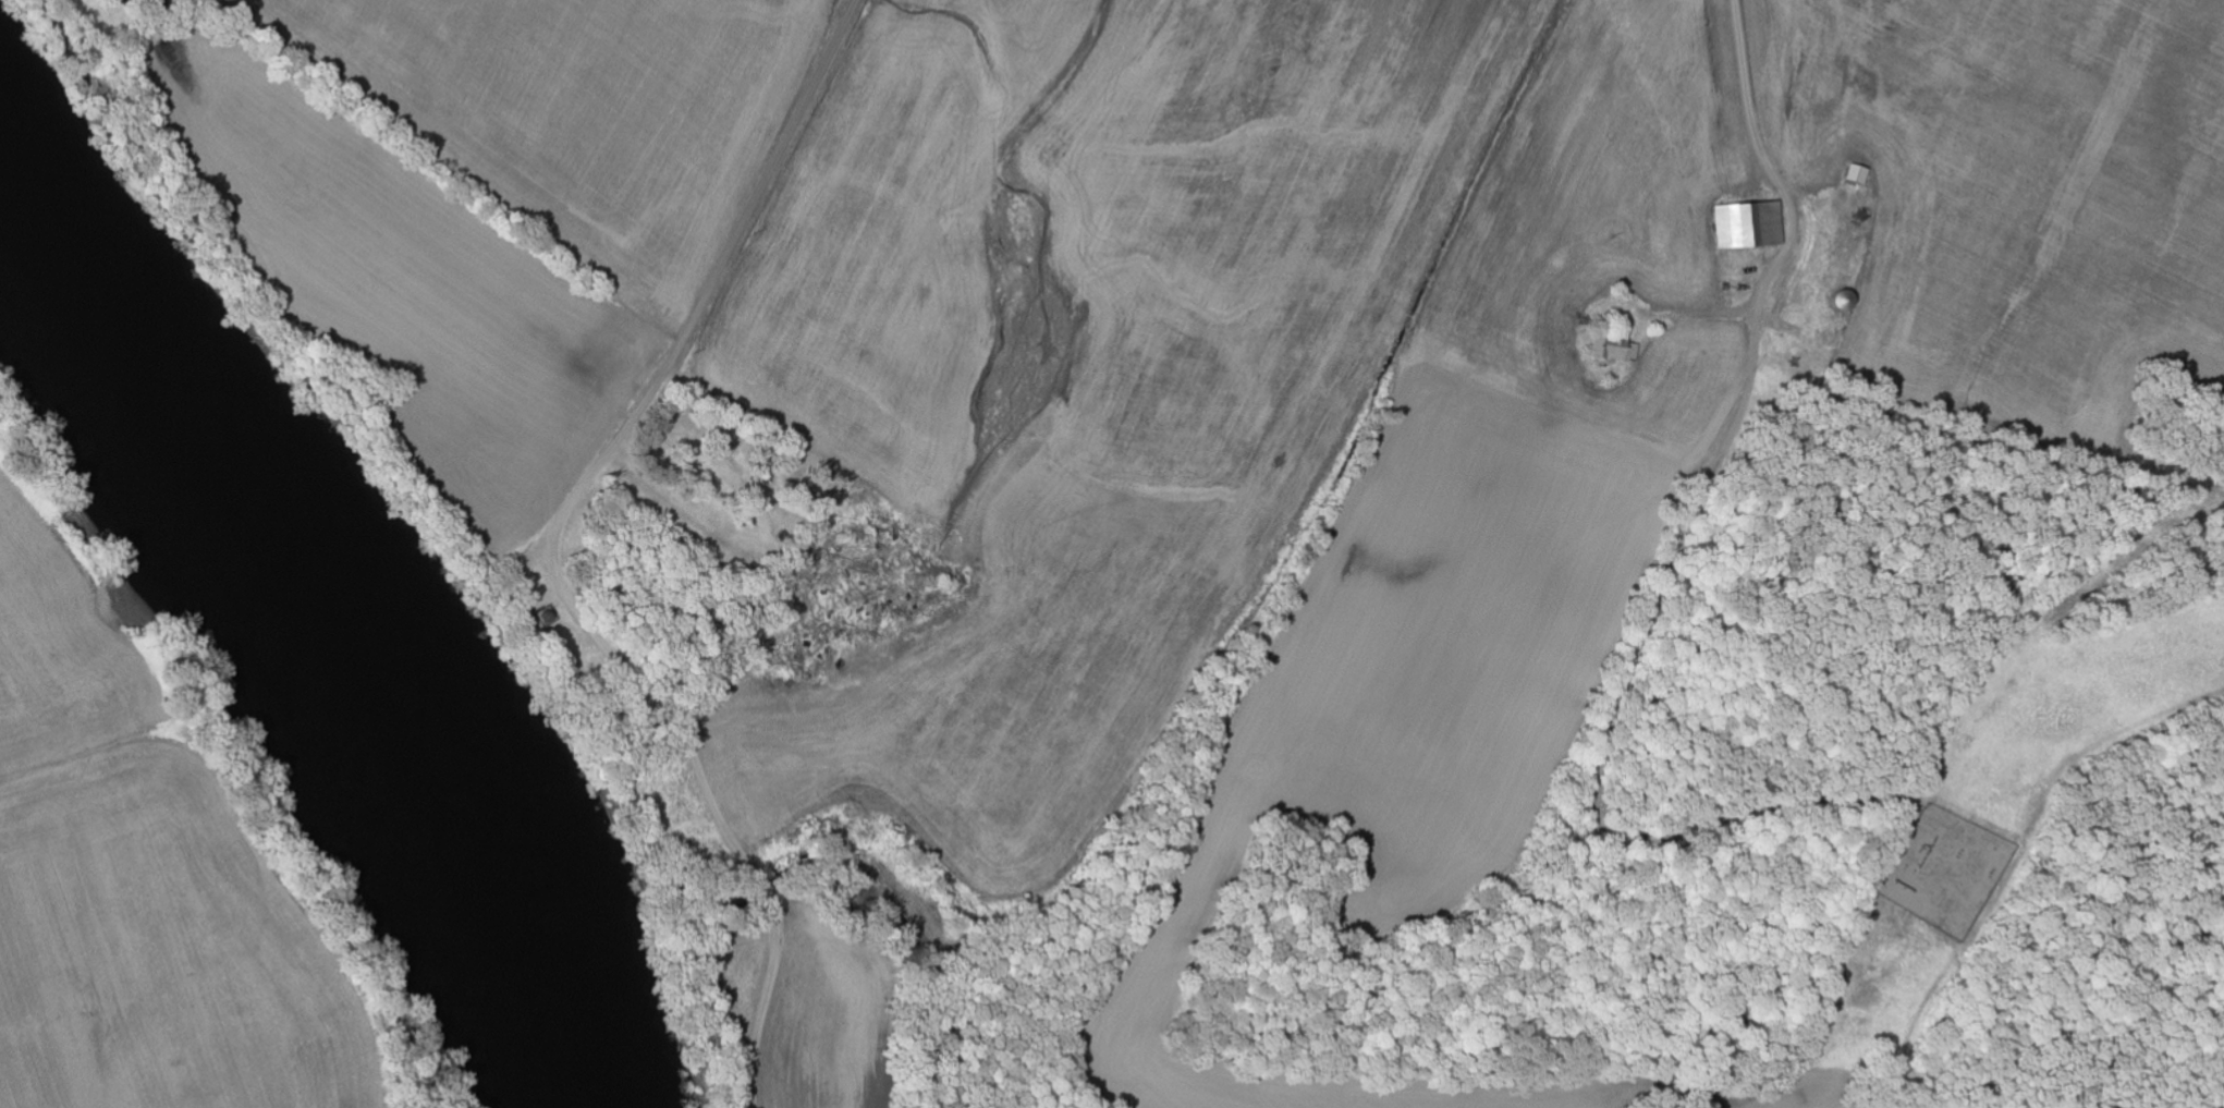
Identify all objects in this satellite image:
building: (1860, 176)
building: (1752, 226)
building: (1621, 351)
road: (644, 407)
river: (301, 622)

